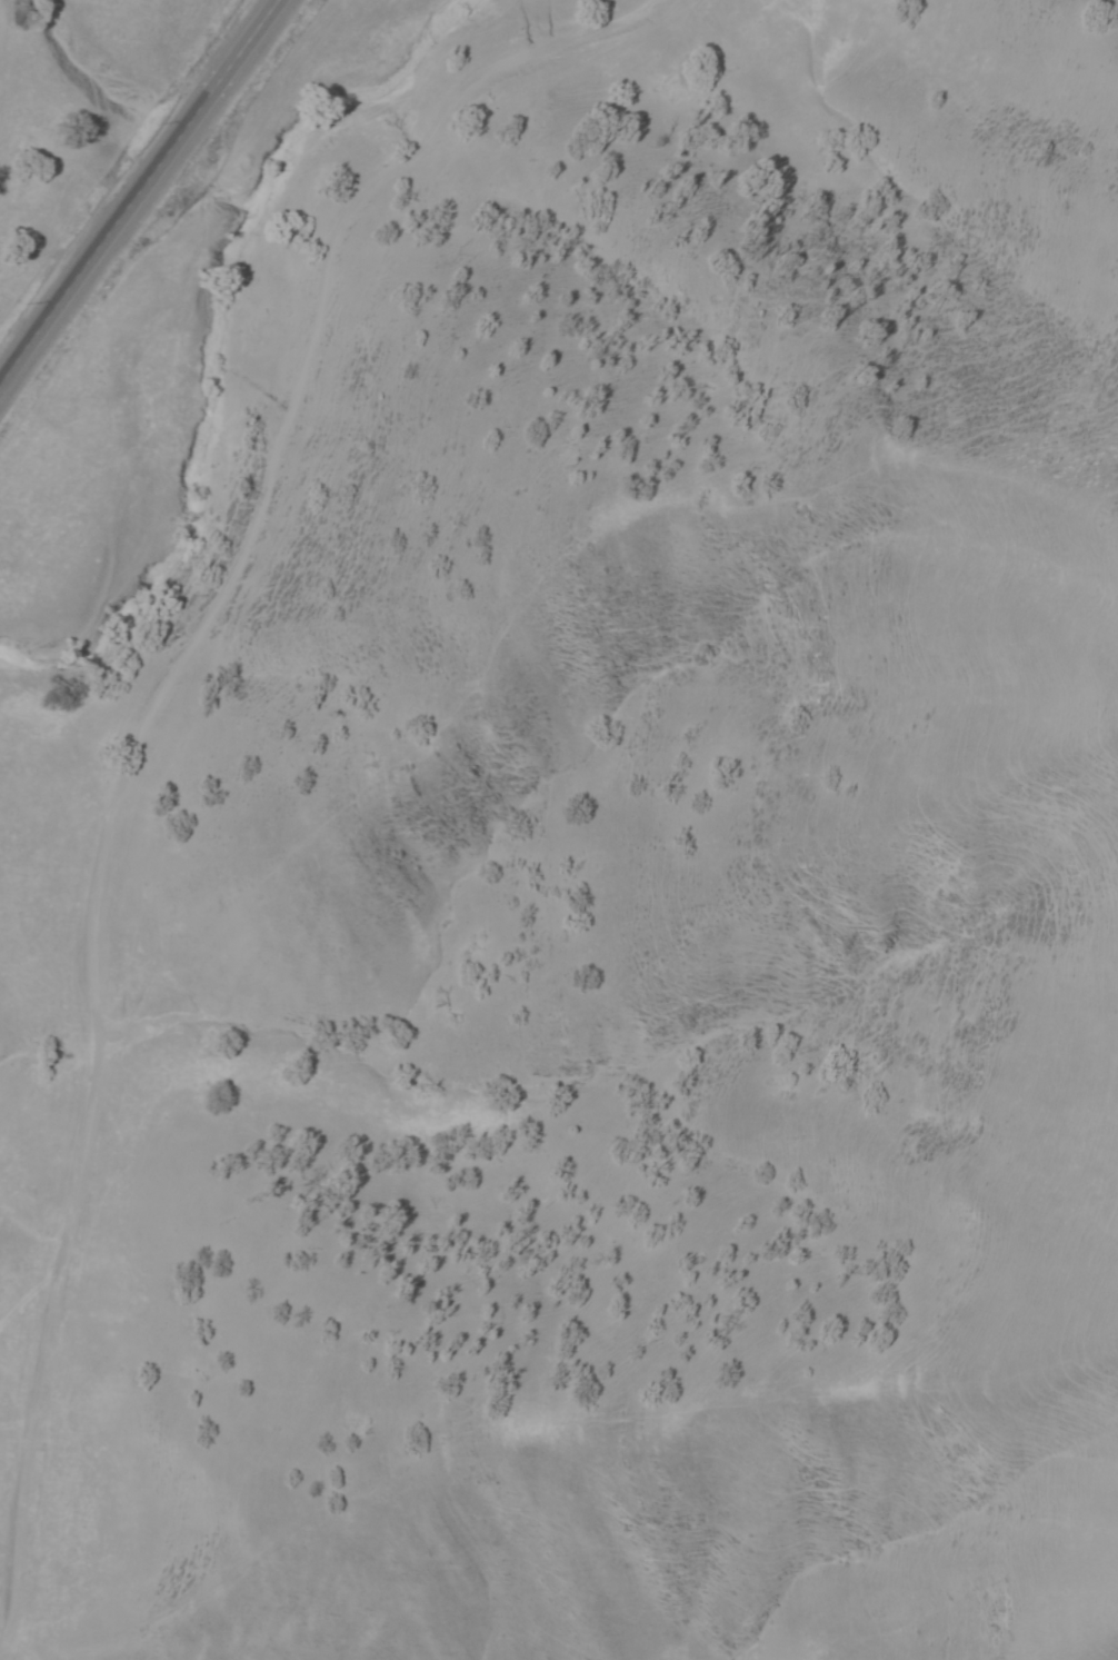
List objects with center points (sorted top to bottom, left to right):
road: (138, 190)
road: (196, 729)

